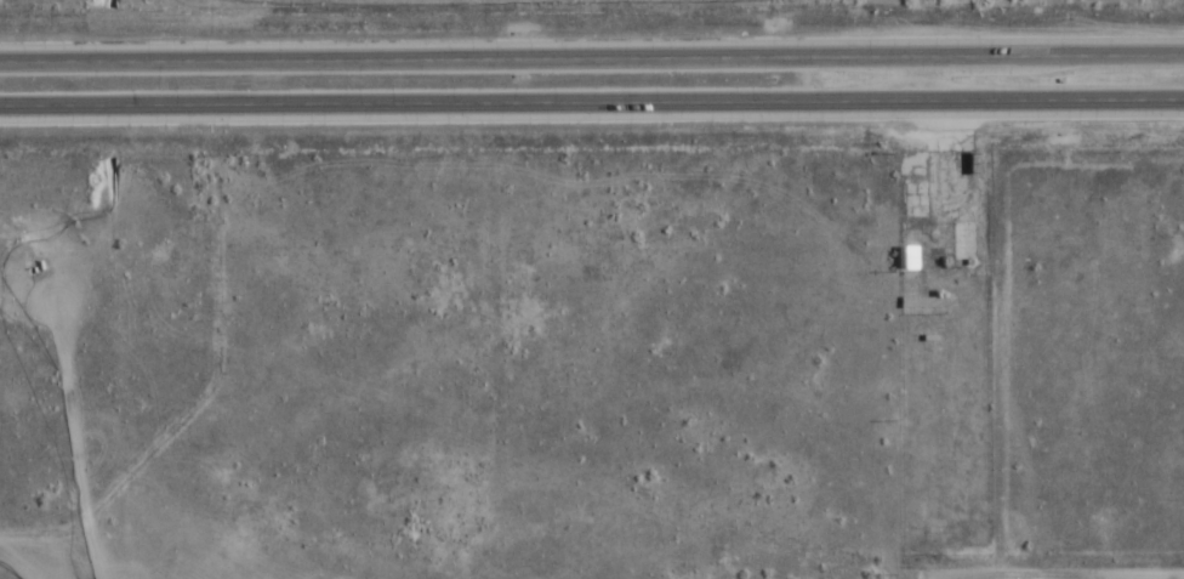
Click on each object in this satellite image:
road: (592, 64)
road: (592, 109)
building: (906, 259)

